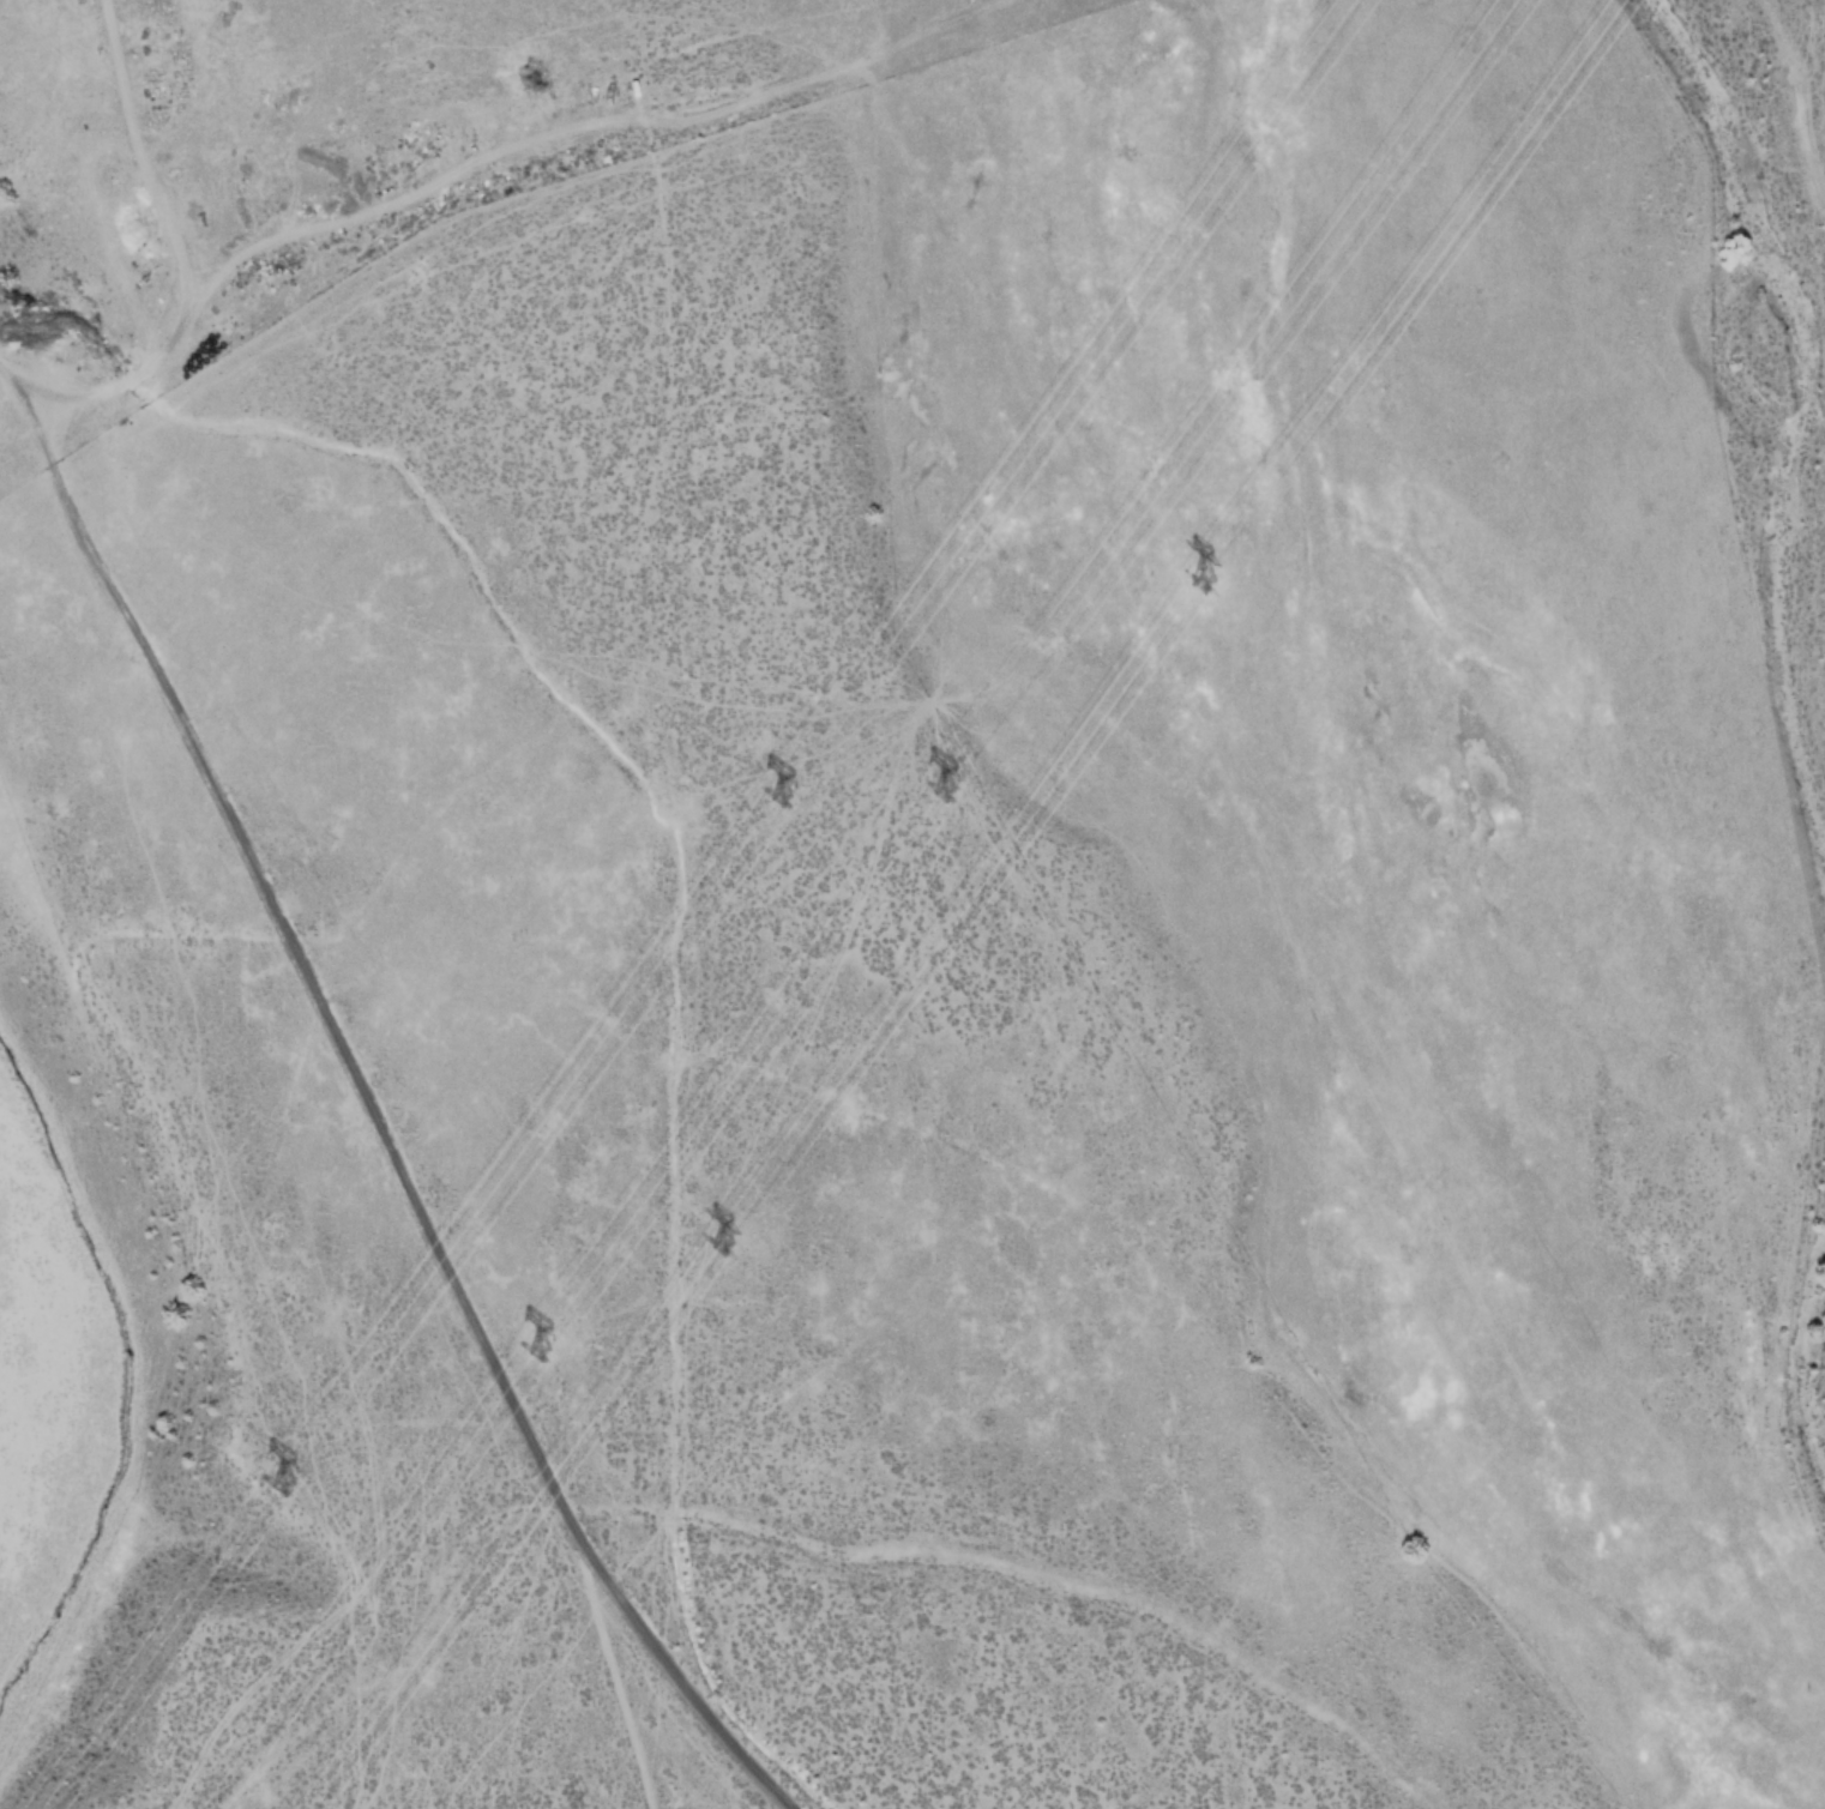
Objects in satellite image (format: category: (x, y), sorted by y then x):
road: (415, 175)
power tower: (1205, 585)
power tower: (941, 774)
power tower: (788, 784)
power tower: (727, 1254)
power tower: (532, 1346)
power tower: (284, 1464)

